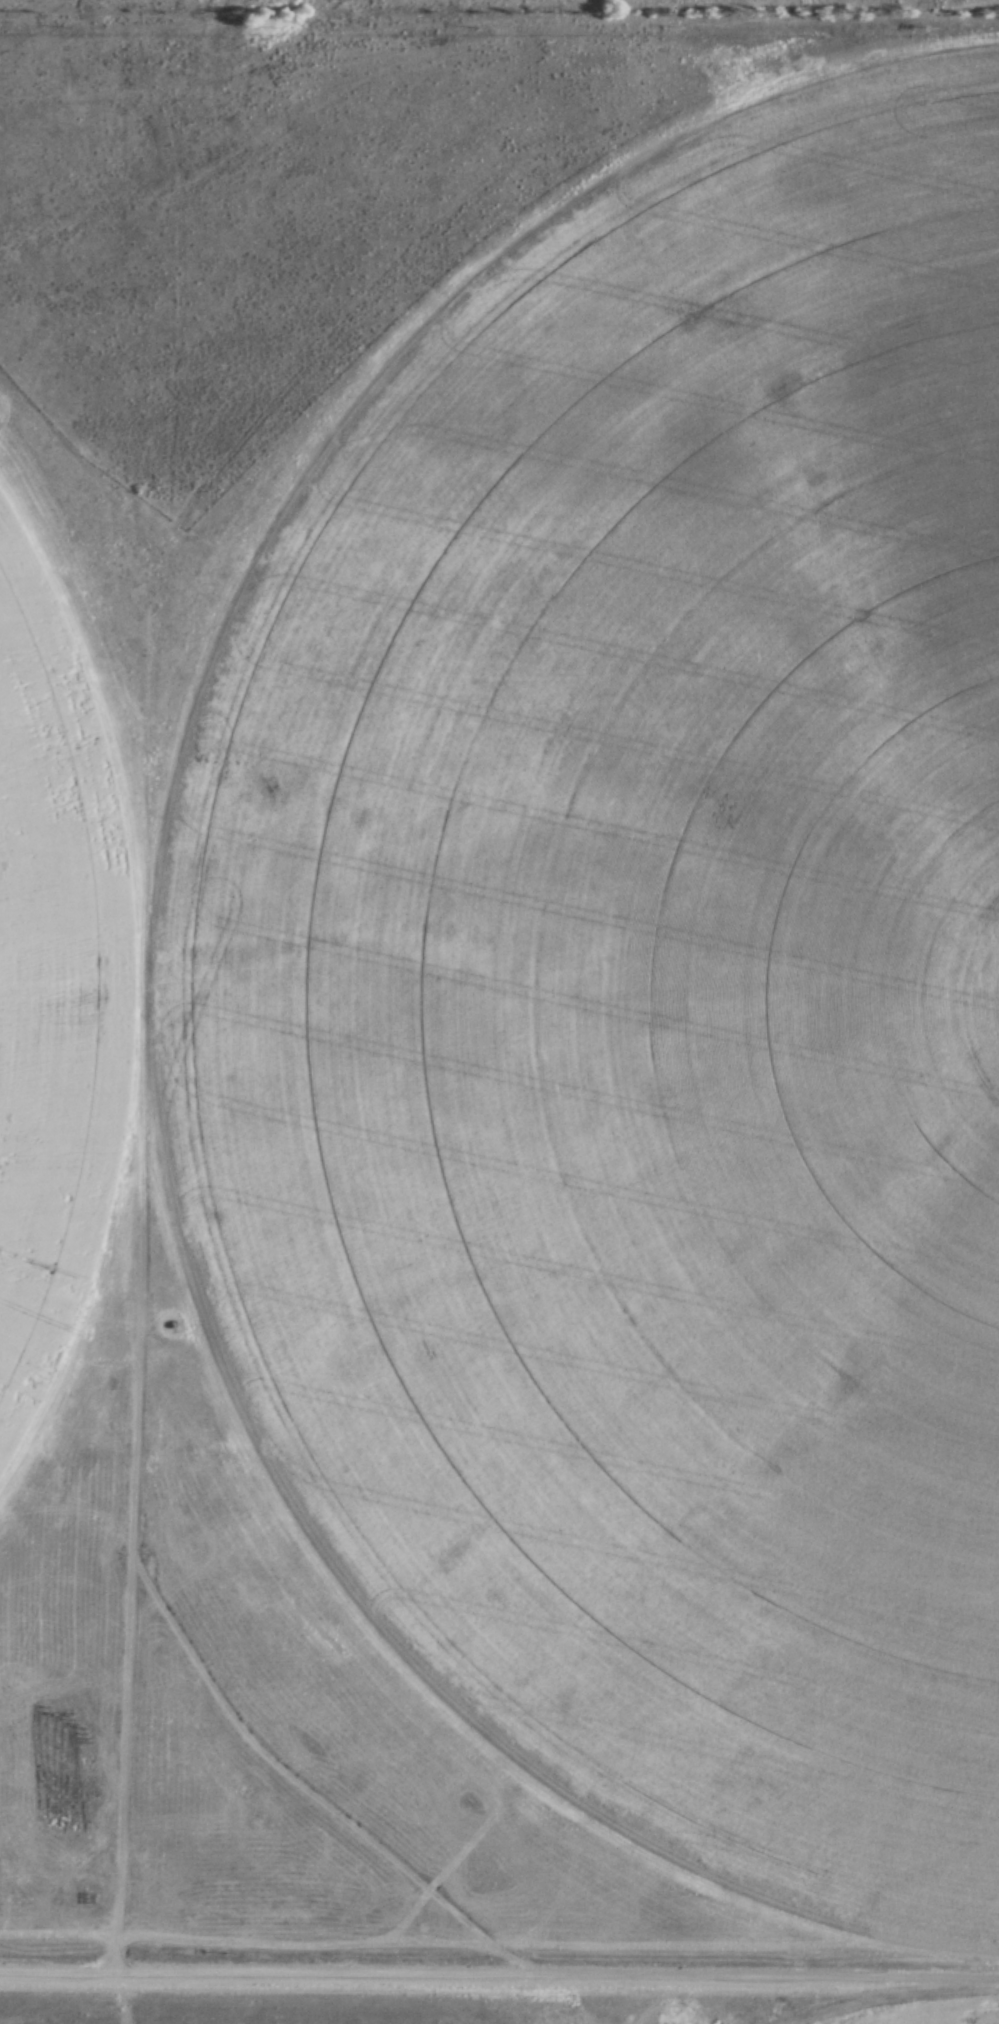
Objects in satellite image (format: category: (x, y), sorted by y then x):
crop: (656, 979)
crop: (62, 1015)

